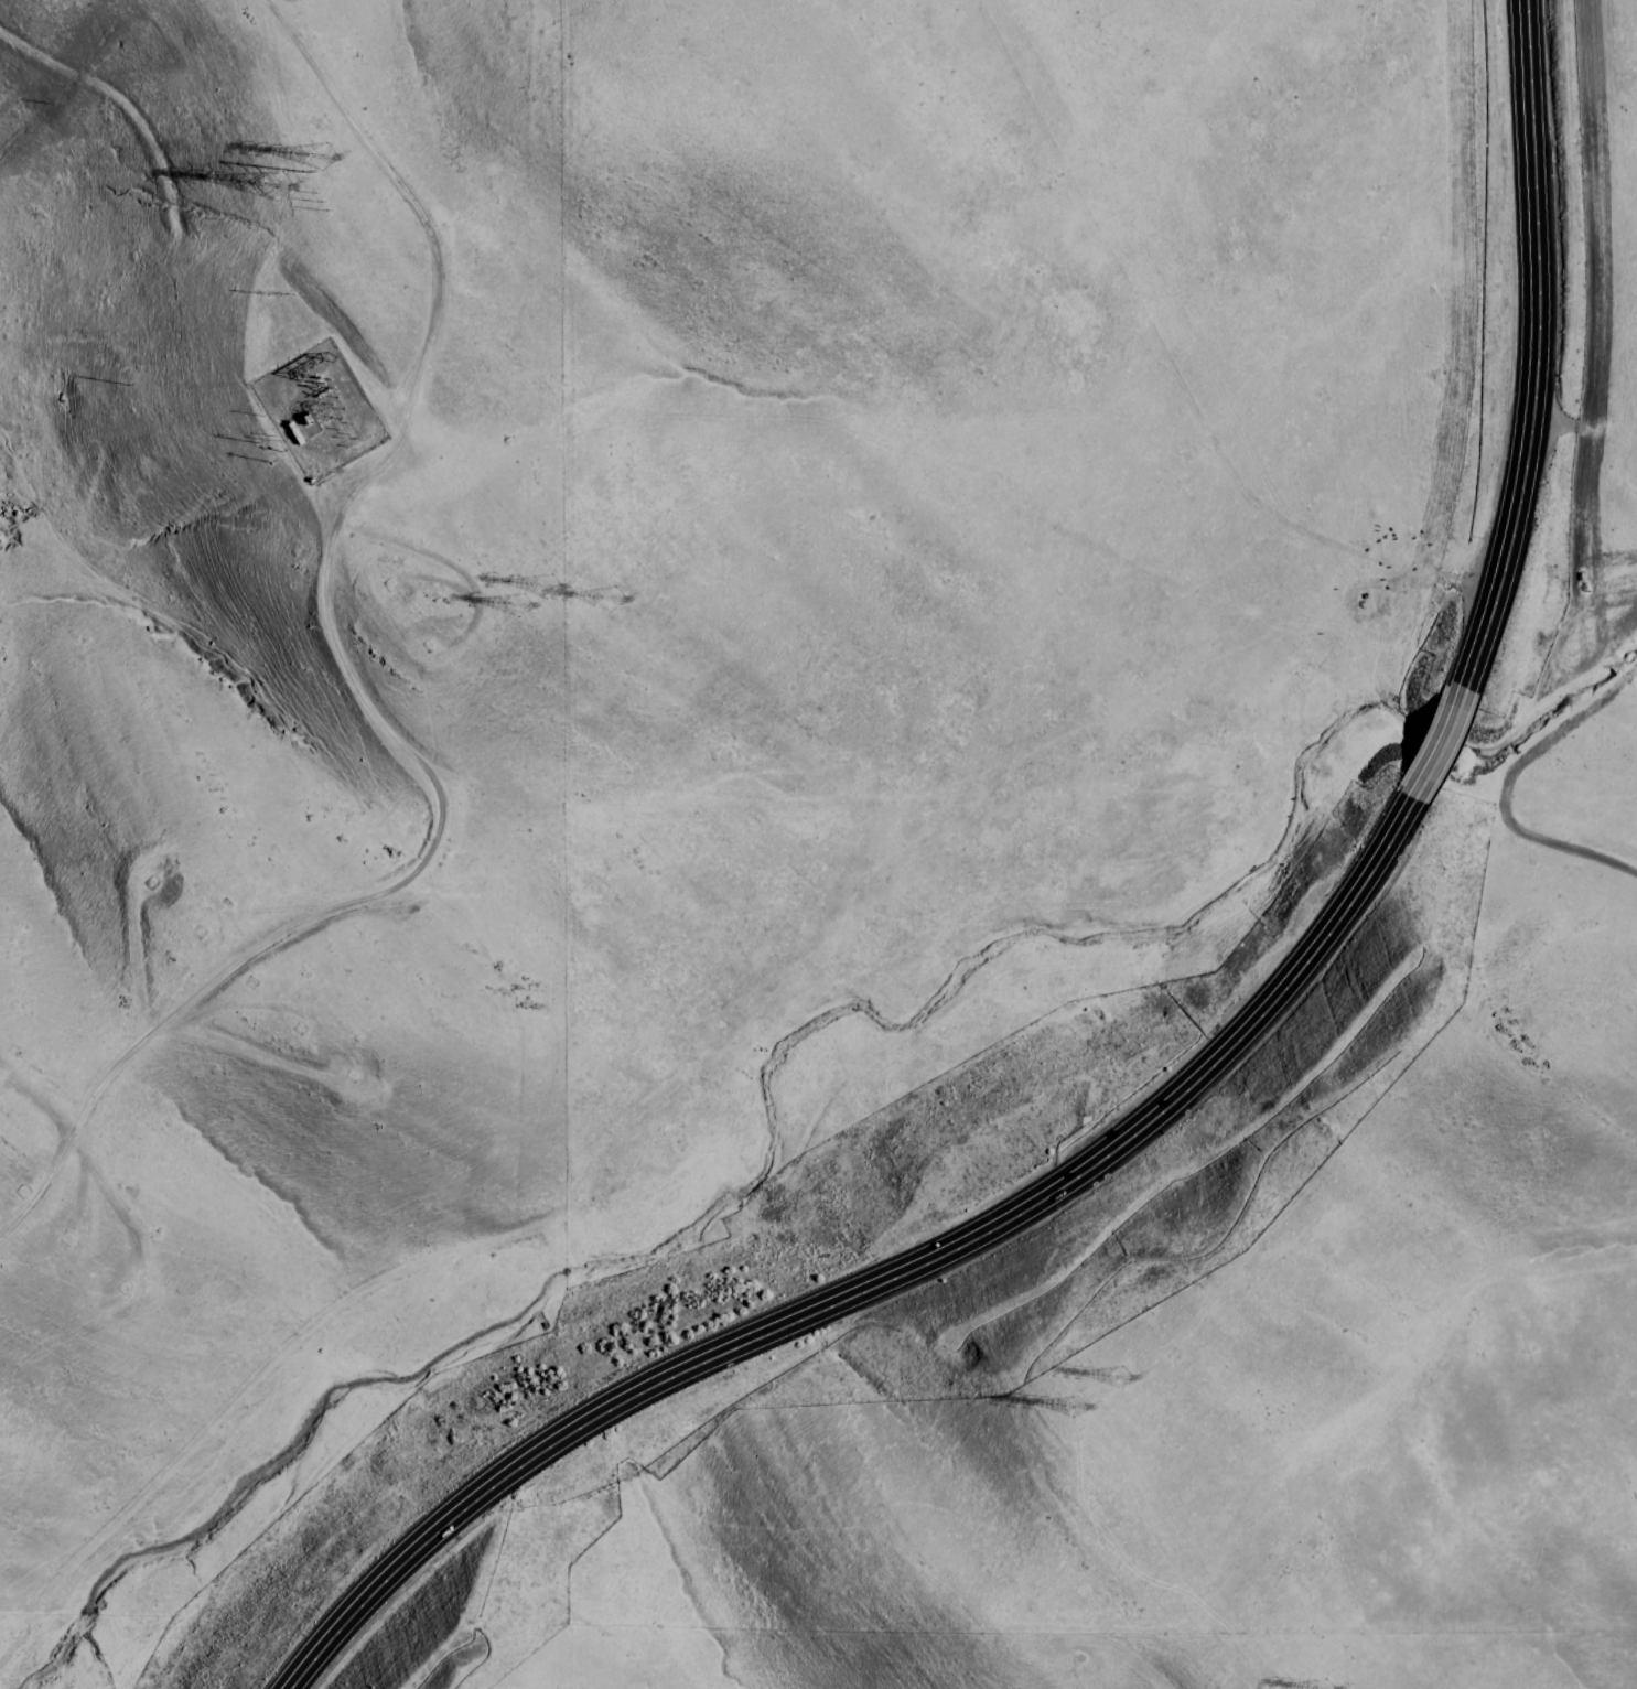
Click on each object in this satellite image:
power tower: (321, 158)
power tower: (298, 174)
power tower: (277, 189)
power tower: (317, 202)
power tower: (278, 295)
road: (1534, 348)
power substation: (316, 410)
power tower: (545, 587)
power tower: (606, 598)
power tower: (515, 605)
road: (345, 678)
road: (1433, 744)
road: (883, 1279)
power tower: (1114, 1380)
power tower: (1068, 1409)

